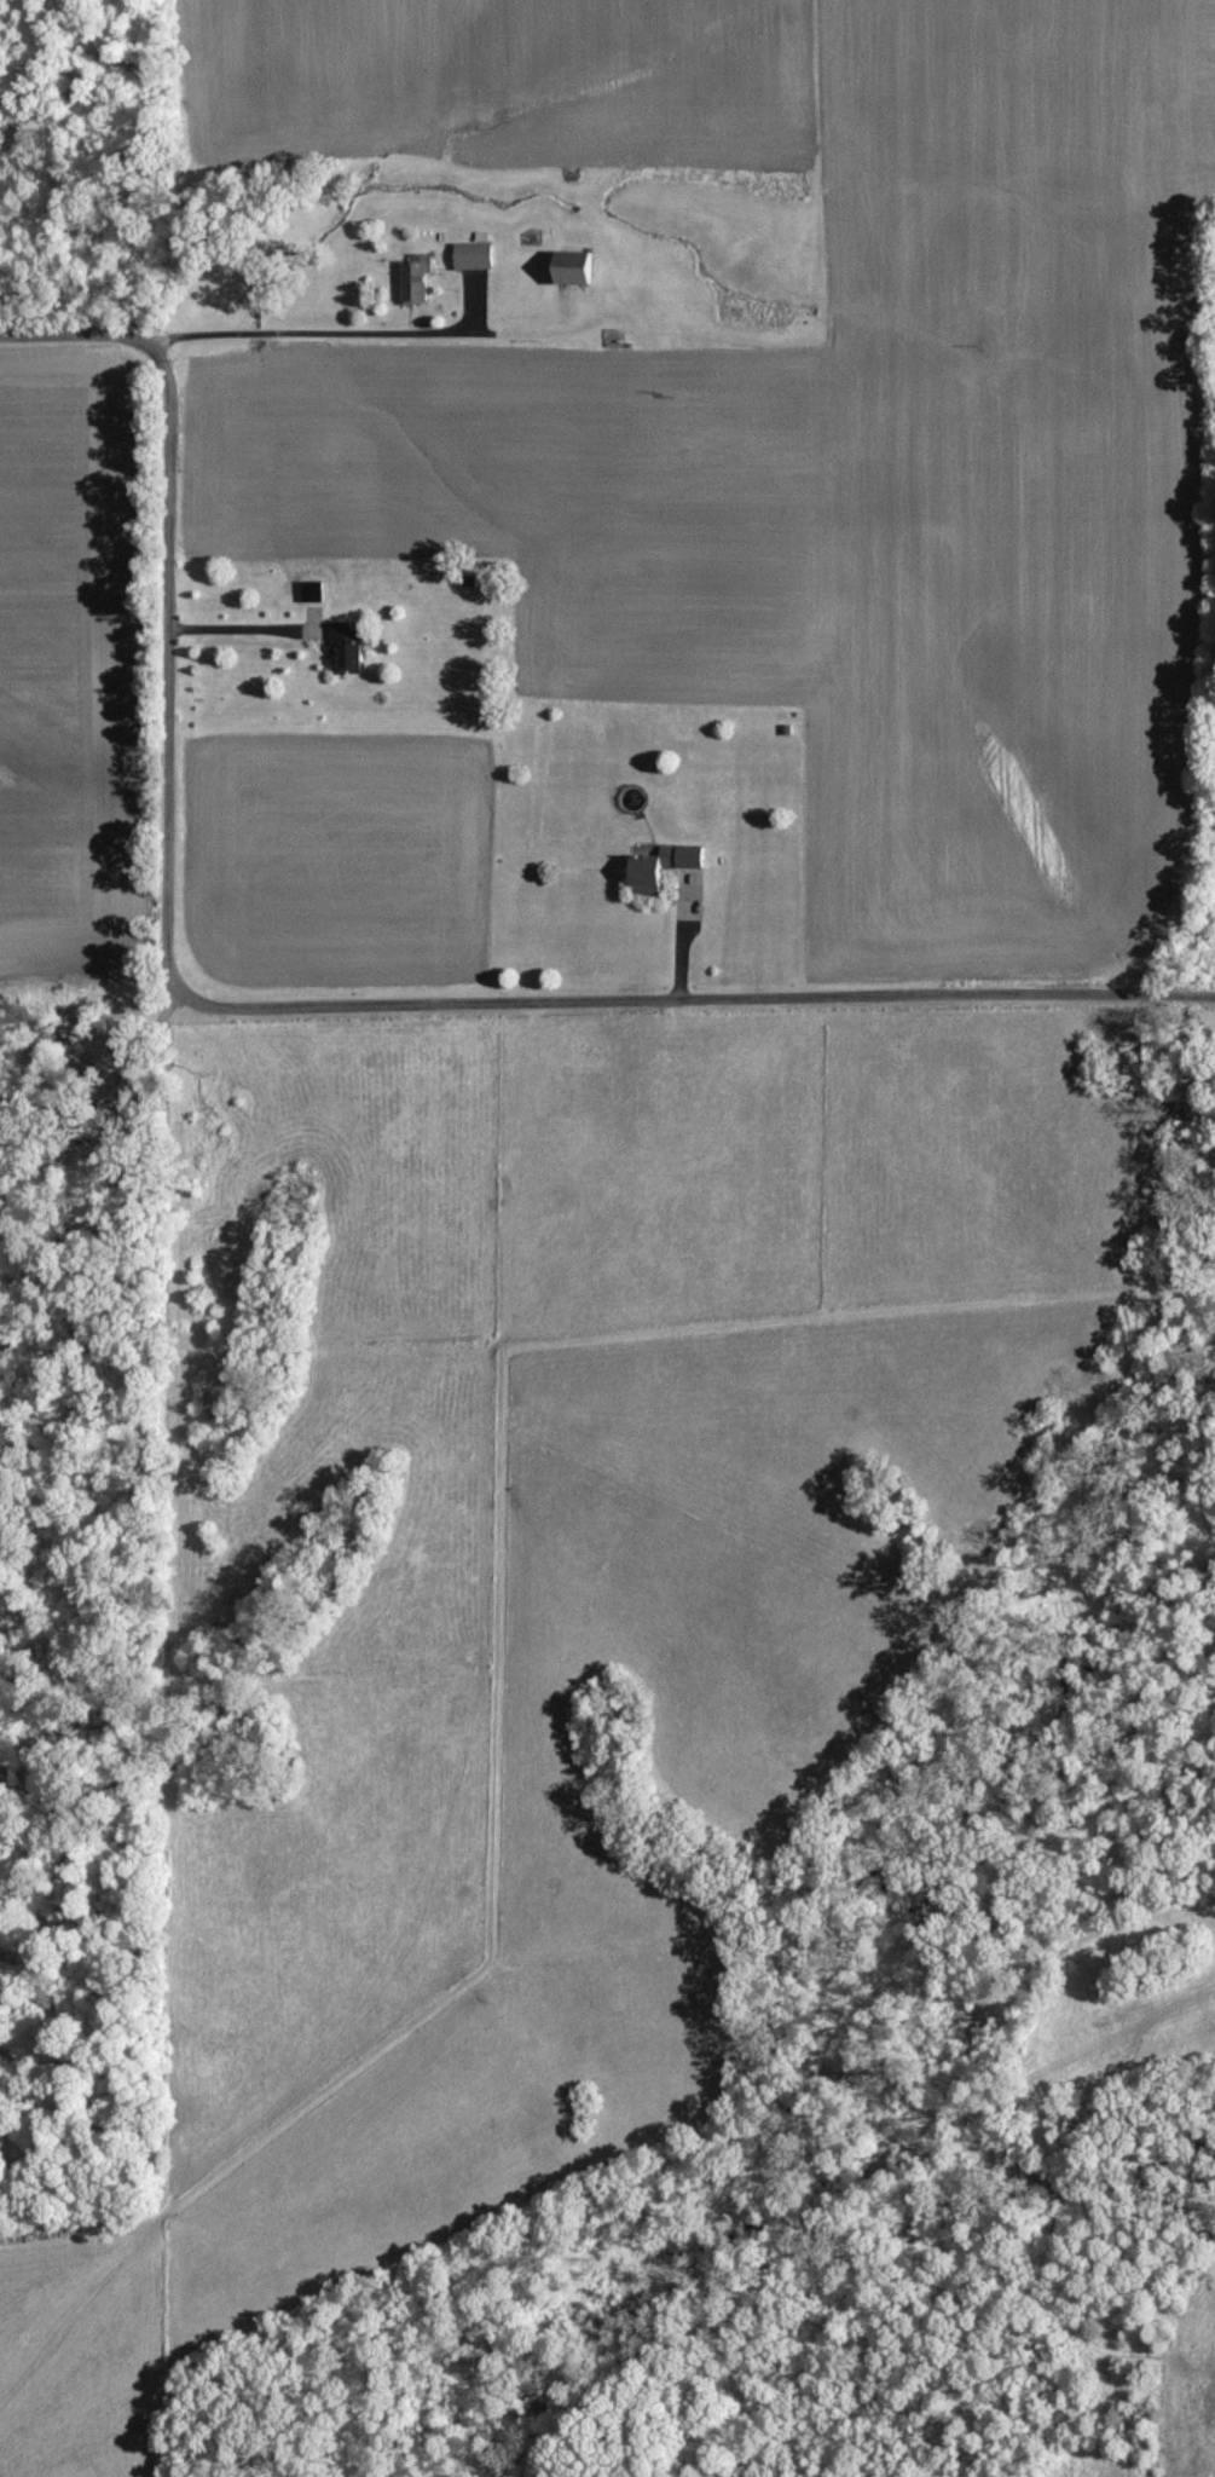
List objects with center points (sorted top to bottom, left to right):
building: (475, 256)
building: (575, 271)
building: (418, 279)
road: (83, 325)
road: (341, 334)
road: (242, 623)
building: (349, 648)
road: (172, 663)
building: (666, 867)
road: (693, 994)

